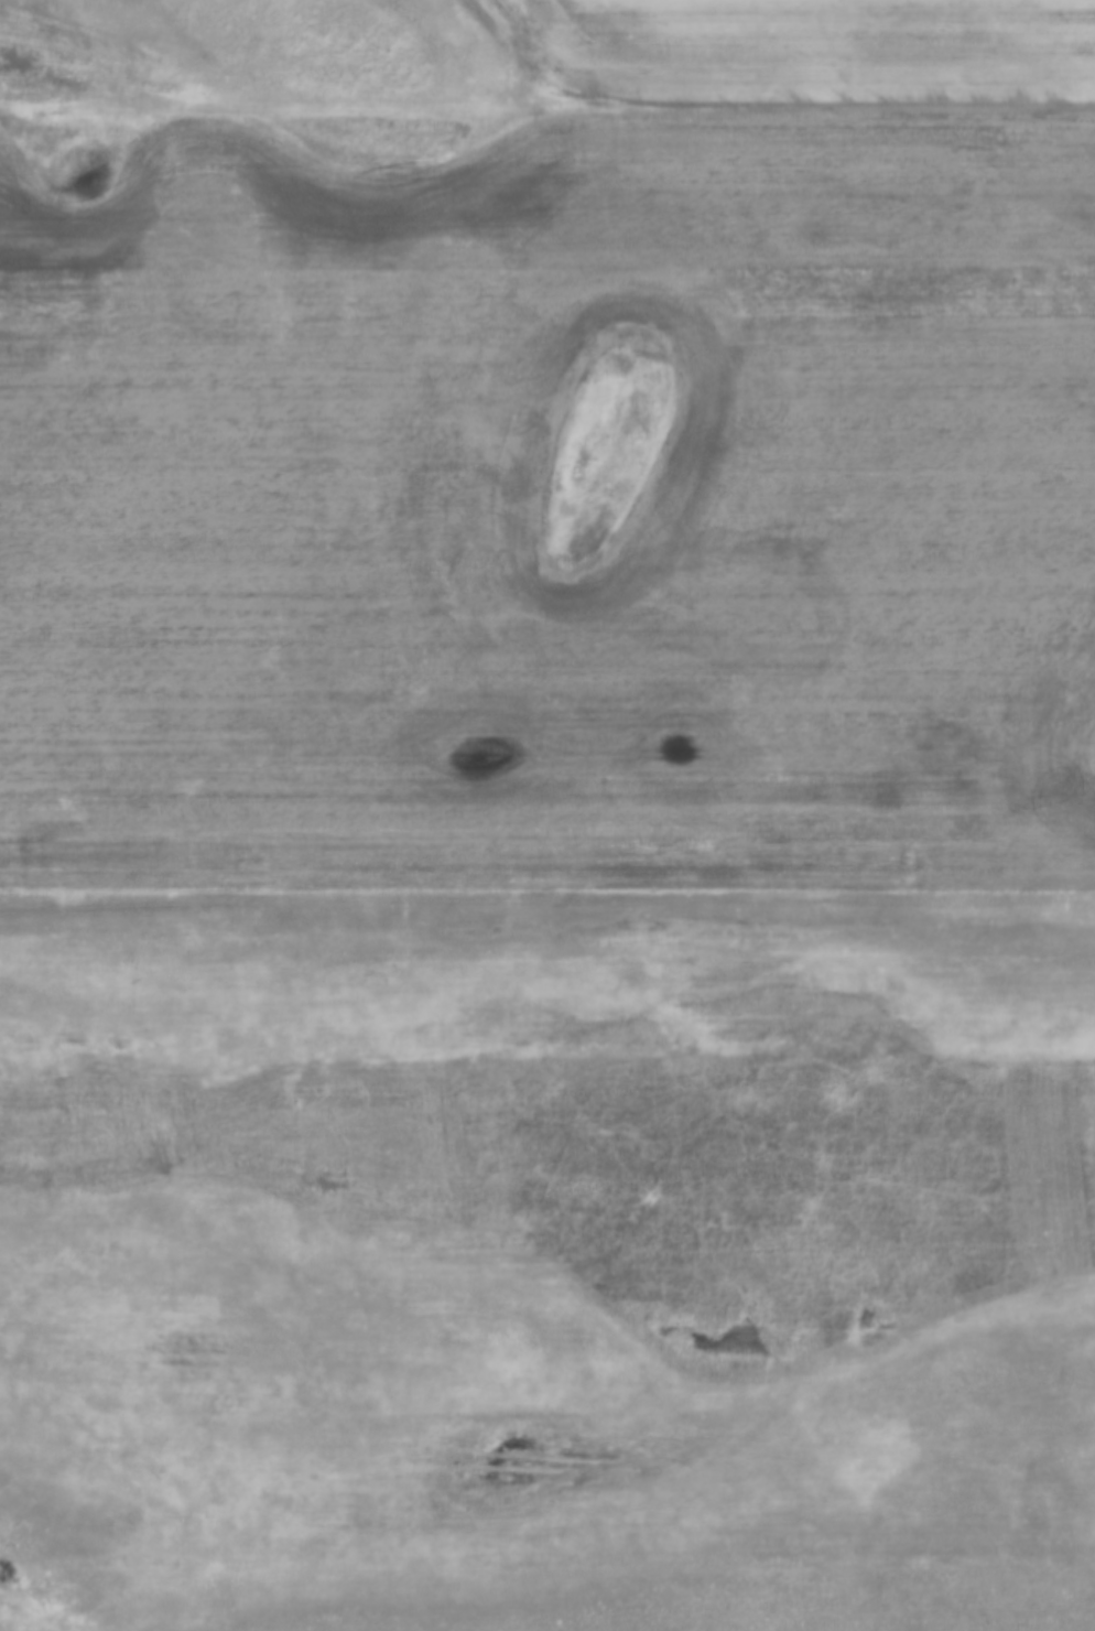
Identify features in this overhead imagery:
road: (546, 102)

